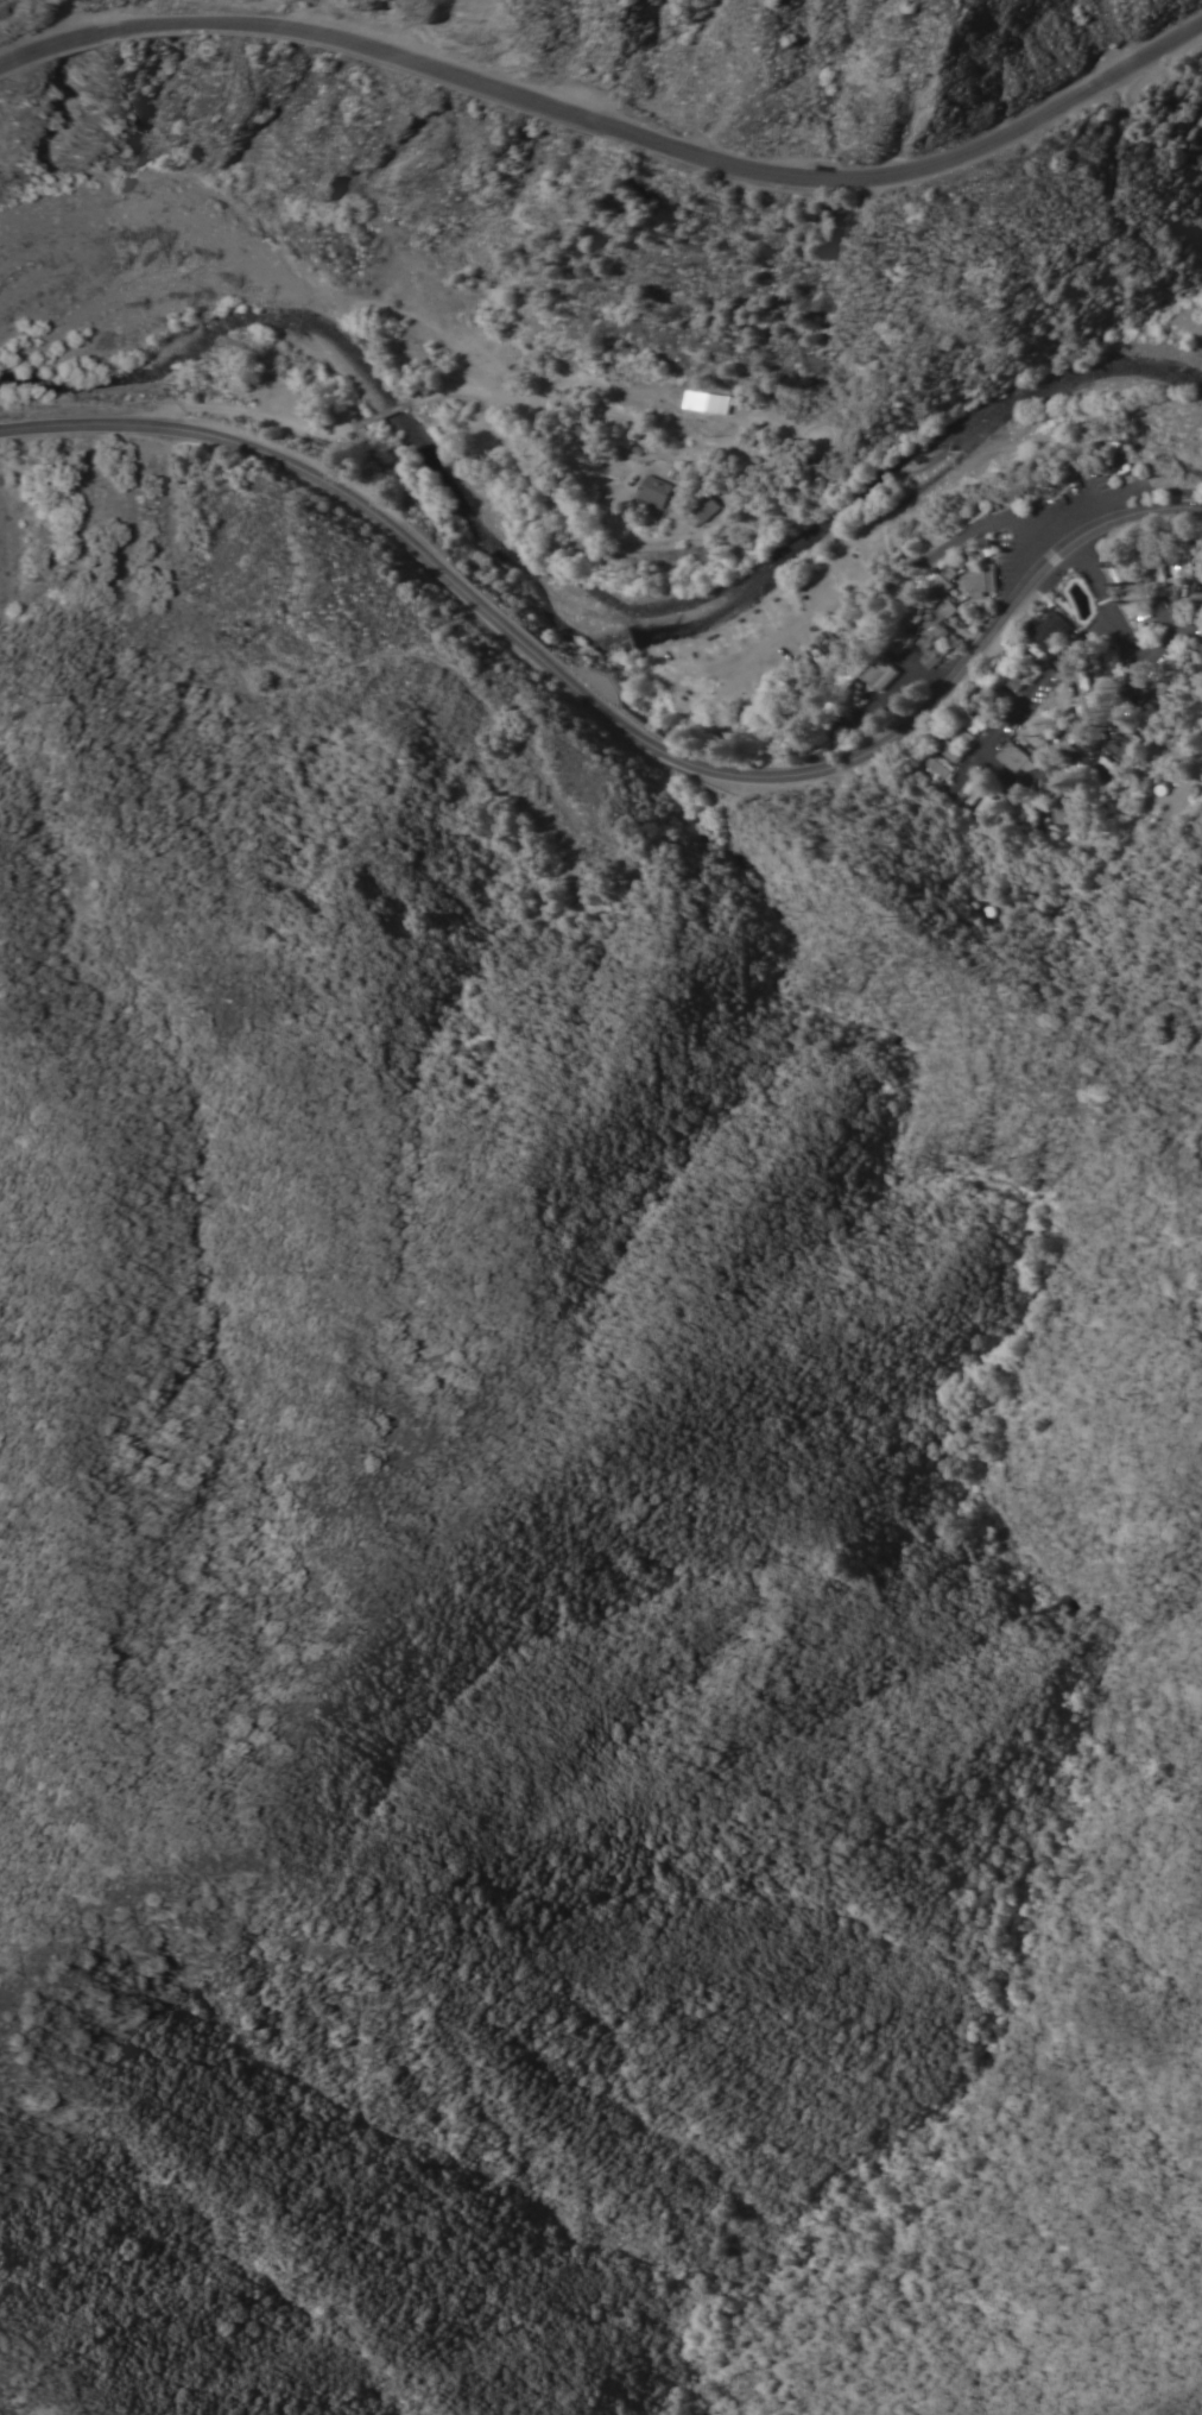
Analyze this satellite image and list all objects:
road: (612, 126)
road: (581, 405)
road: (245, 411)
road: (384, 414)
road: (495, 430)
building: (582, 433)
building: (622, 433)
building: (1124, 464)
road: (597, 484)
building: (654, 490)
building: (706, 506)
road: (897, 516)
road: (979, 528)
building: (1198, 550)
building: (1183, 555)
road: (1048, 557)
building: (1154, 566)
building: (981, 578)
building: (1127, 578)
river: (582, 579)
building: (938, 585)
building: (948, 606)
road: (1164, 618)
road: (792, 619)
building: (849, 626)
building: (1051, 628)
road: (1176, 633)
building: (900, 641)
building: (937, 643)
building: (1197, 648)
building: (820, 655)
building: (1021, 663)
building: (1115, 666)
building: (809, 669)
building: (882, 671)
building: (1008, 674)
building: (1169, 676)
building: (997, 691)
road: (874, 707)
building: (1156, 708)
building: (1078, 711)
building: (1144, 719)
road: (611, 720)
building: (973, 720)
building: (714, 727)
building: (957, 730)
building: (1065, 731)
building: (951, 750)
building: (1120, 750)
building: (1014, 756)
road: (993, 761)
building: (937, 763)
building: (1096, 778)
building: (968, 792)
building: (981, 807)
building: (1032, 808)
building: (1056, 808)
building: (1073, 808)
building: (1011, 809)

